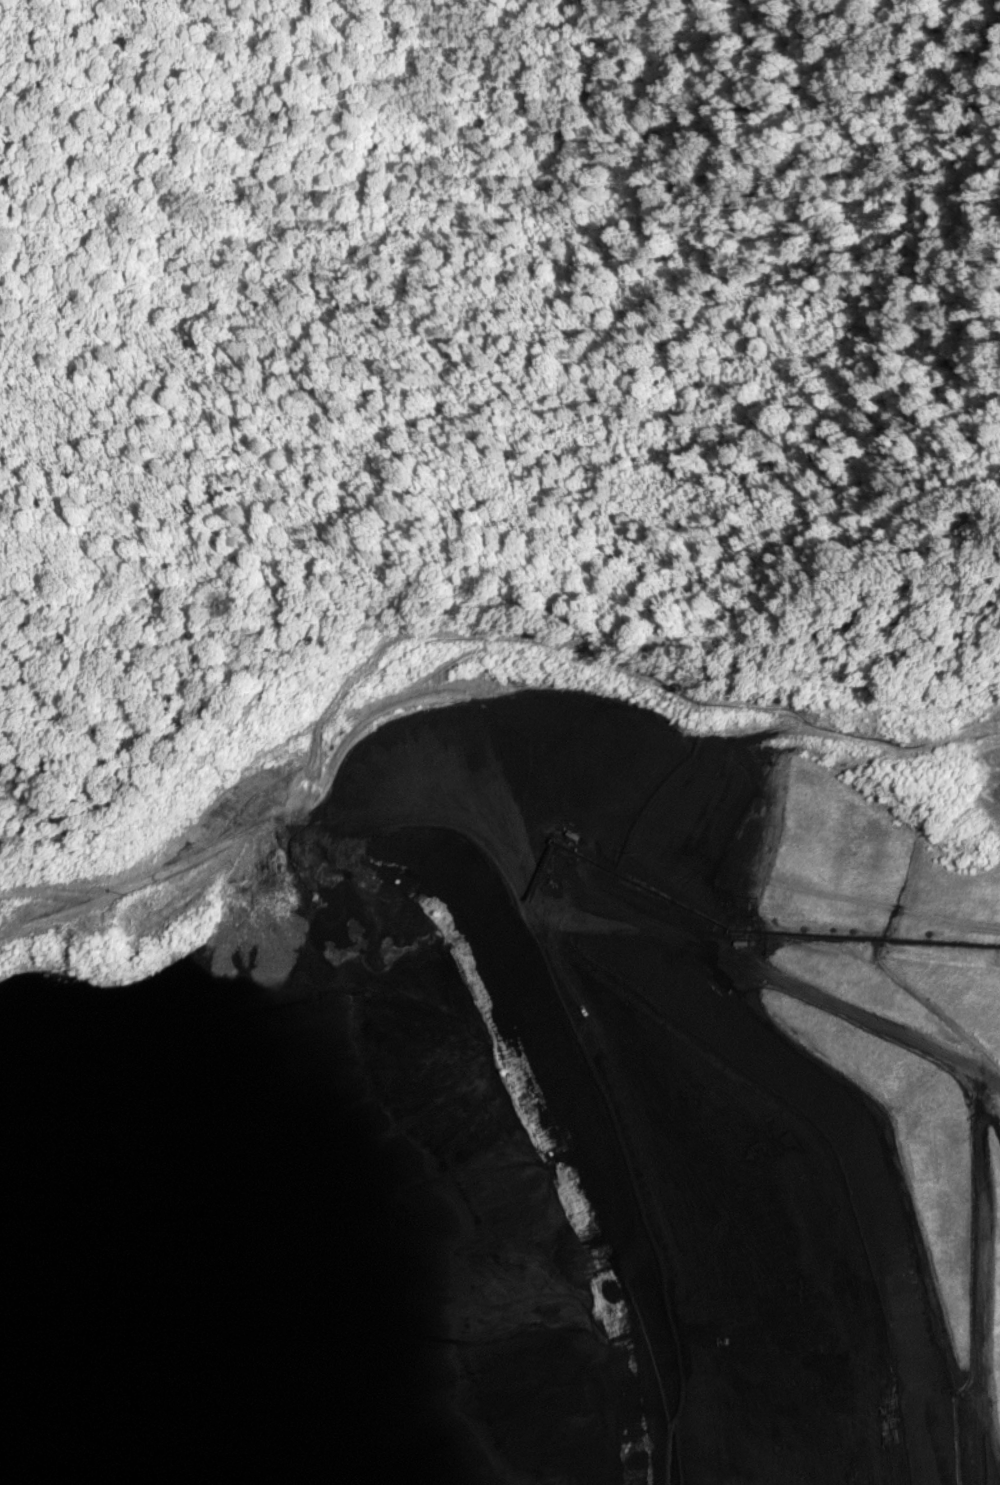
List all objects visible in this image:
quarry: (510, 1092)

